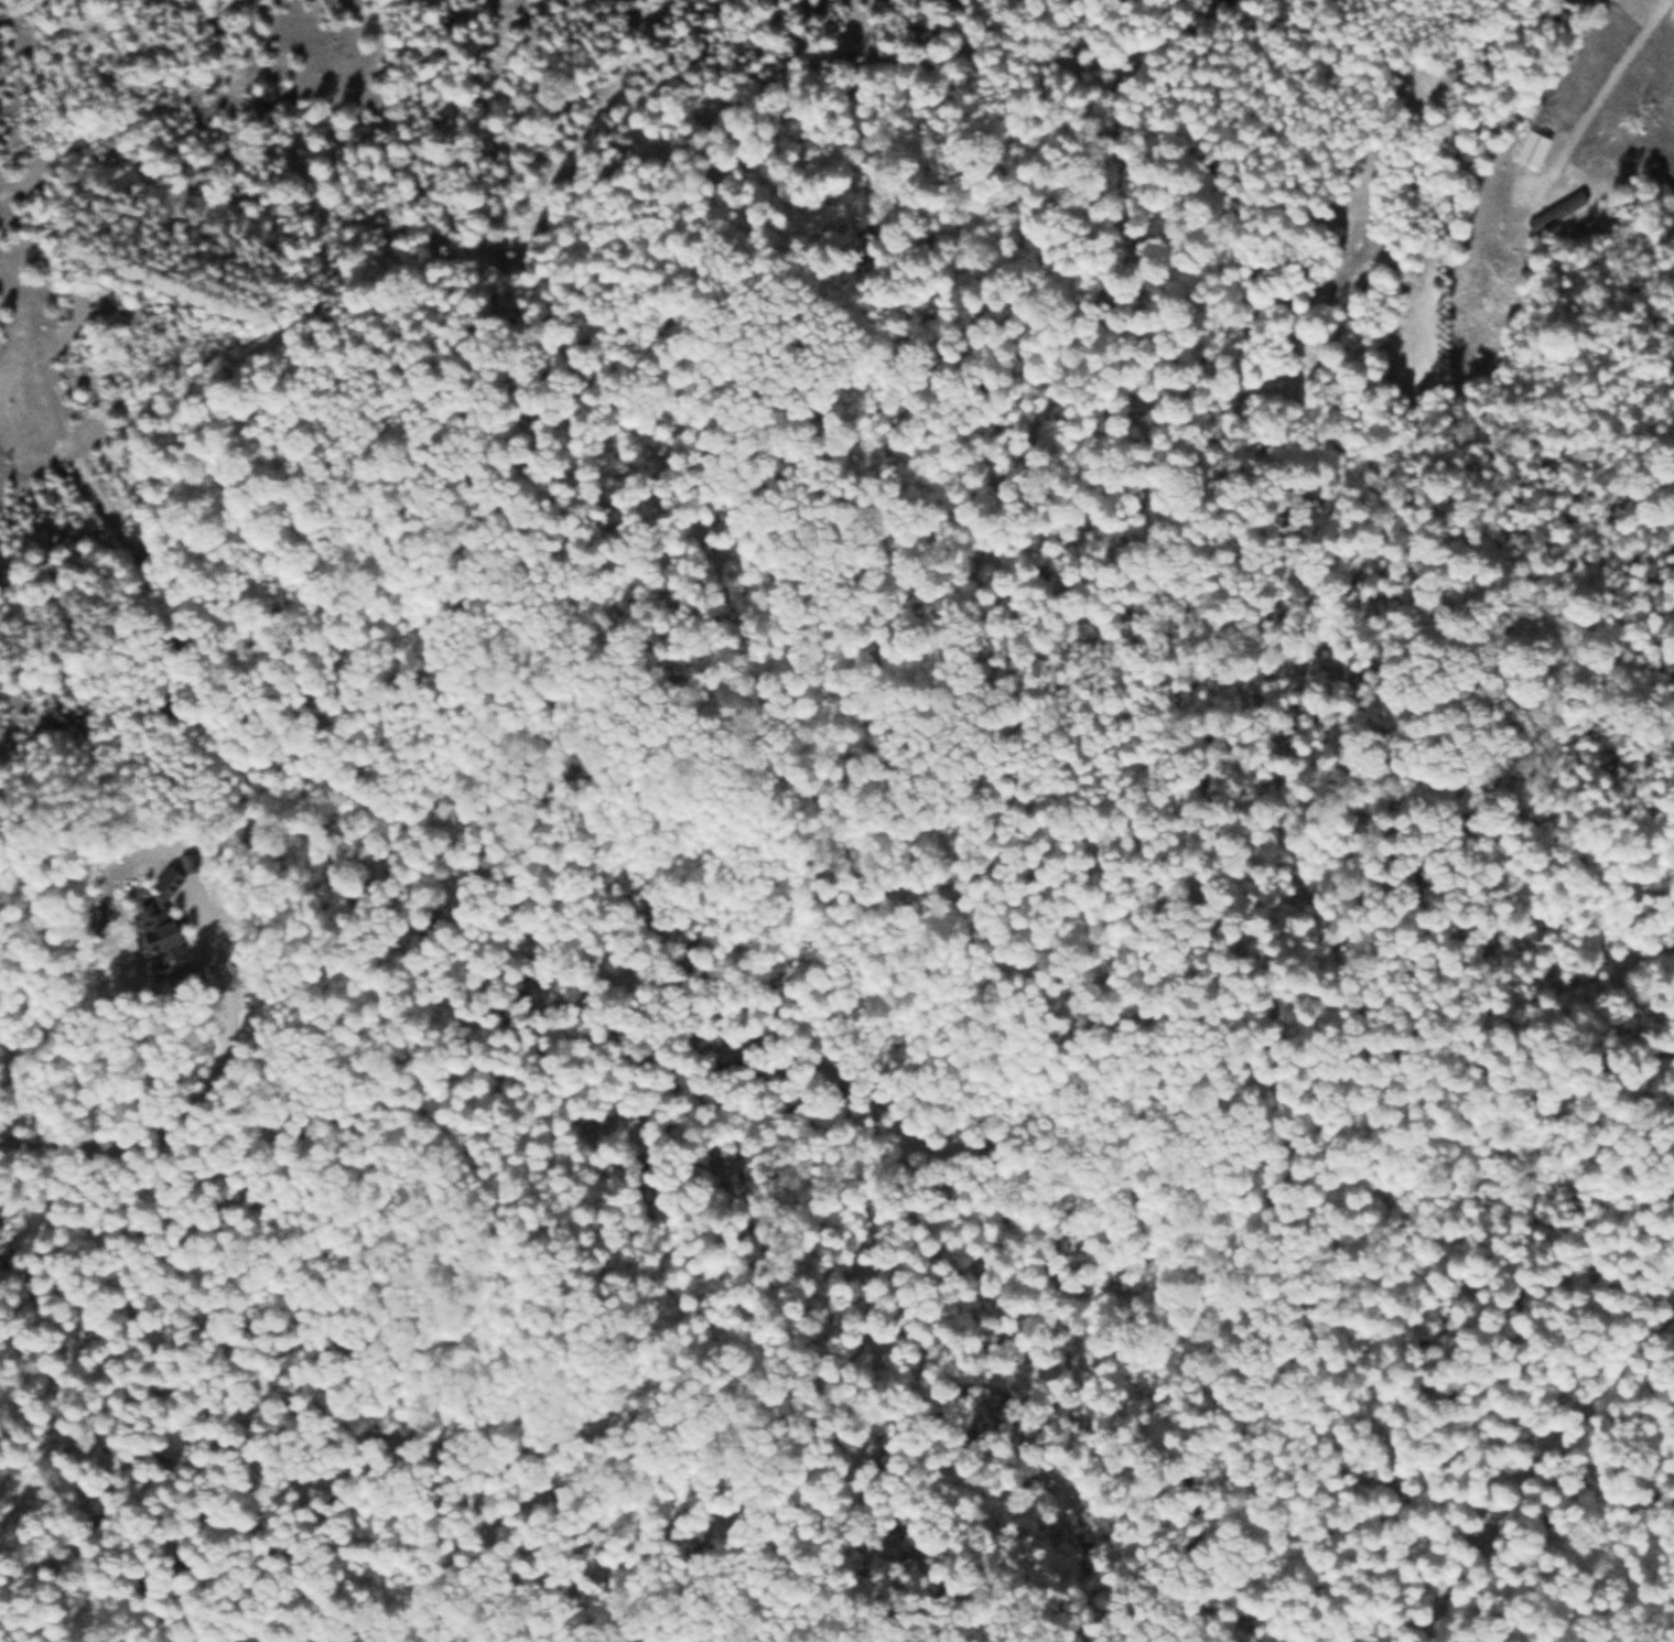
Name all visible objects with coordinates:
building: (1535, 148)
building: (1559, 210)

